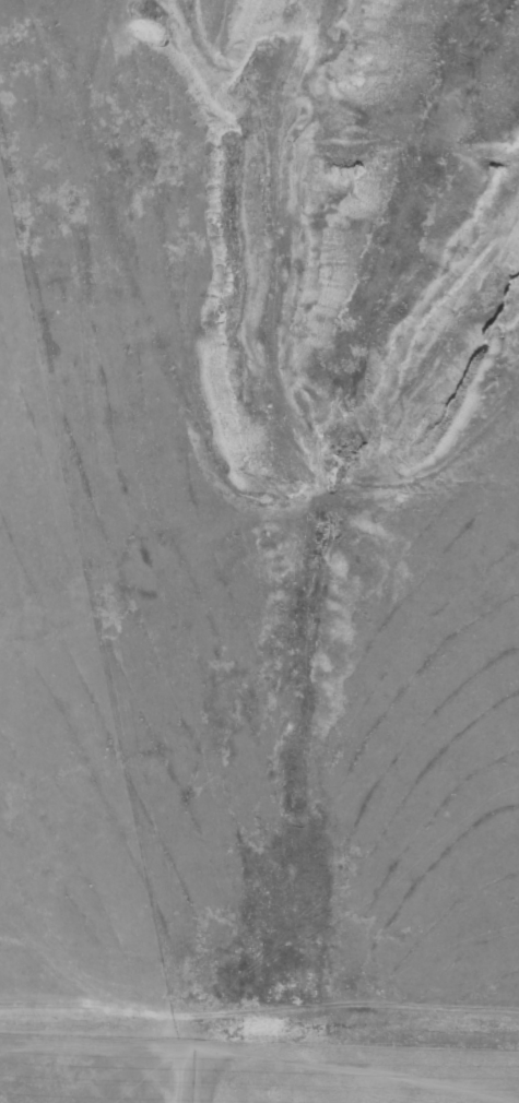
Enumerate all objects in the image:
road: (48, 969)
road: (259, 1023)

